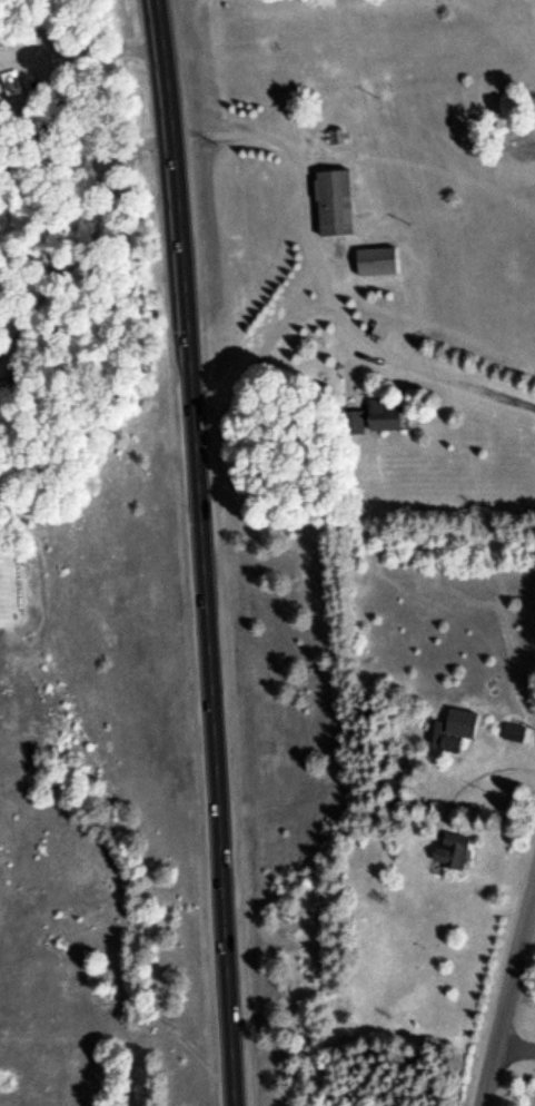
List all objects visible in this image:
building: (11, 78)
building: (336, 90)
building: (334, 199)
building: (376, 258)
building: (383, 414)
building: (351, 419)
road: (200, 552)
building: (460, 720)
building: (513, 729)
building: (432, 730)
building: (450, 849)
road: (508, 994)

